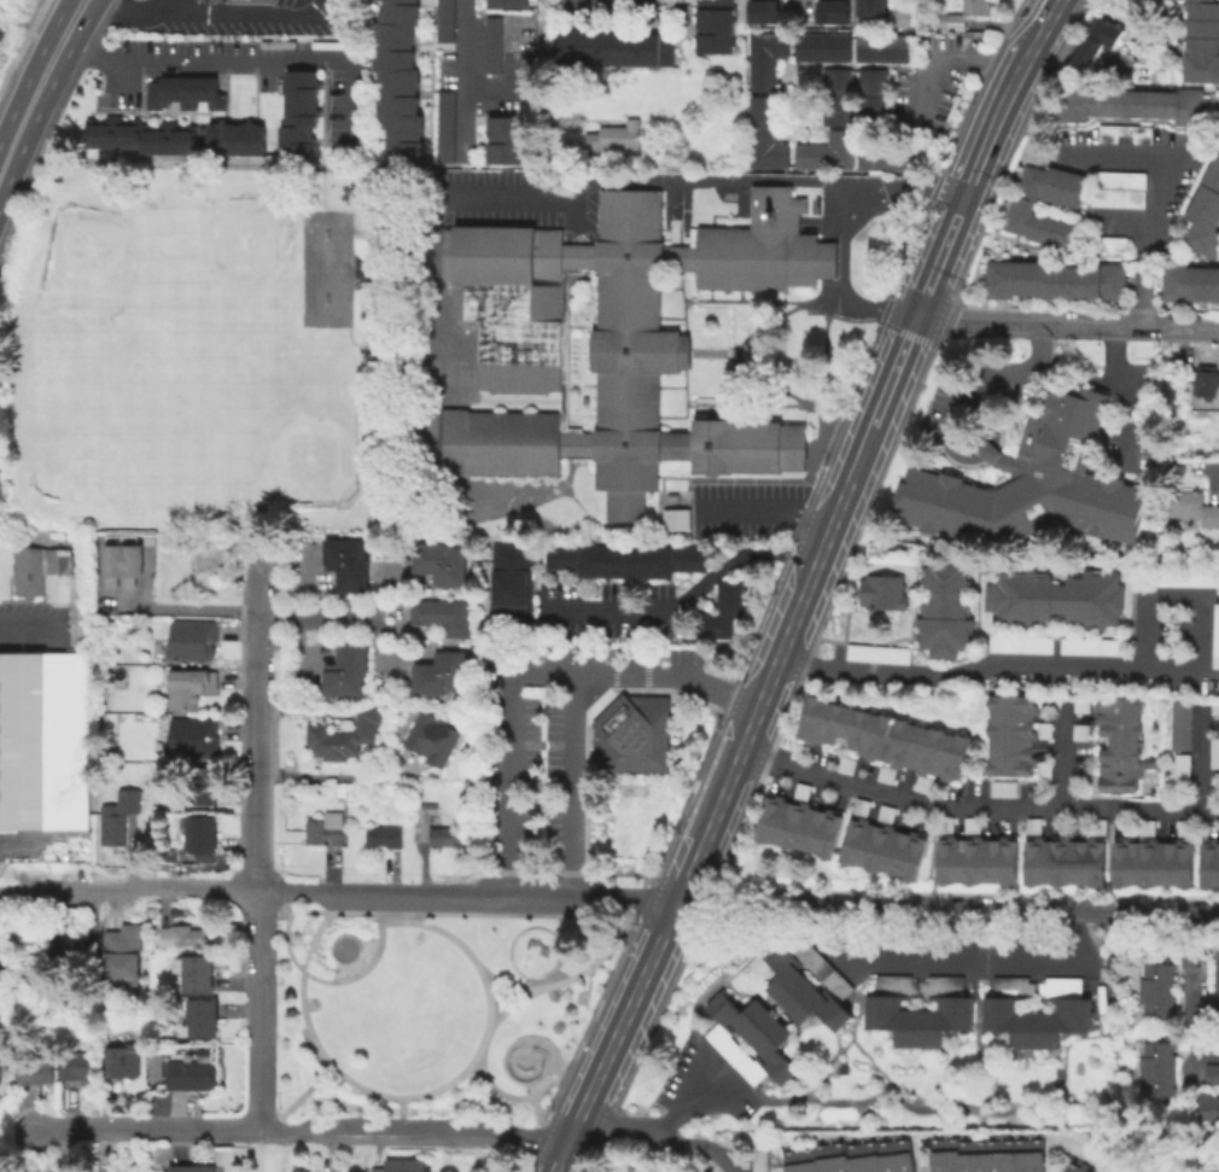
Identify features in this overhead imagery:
building: (504, 2)
road: (163, 4)
building: (875, 6)
road: (203, 7)
road: (797, 7)
building: (861, 7)
building: (763, 11)
building: (830, 11)
building: (955, 13)
building: (900, 18)
building: (442, 19)
building: (712, 25)
road: (1038, 29)
building: (1092, 40)
building: (1200, 41)
building: (489, 42)
building: (612, 45)
building: (820, 45)
building: (882, 46)
road: (941, 53)
building: (763, 57)
road: (246, 58)
building: (1138, 70)
road: (113, 71)
road: (508, 76)
road: (460, 77)
building: (396, 80)
road: (39, 87)
building: (181, 91)
building: (870, 94)
building: (834, 95)
road: (539, 100)
building: (1128, 103)
building: (297, 111)
building: (442, 124)
building: (1122, 132)
building: (136, 134)
building: (762, 134)
building: (612, 135)
building: (234, 136)
building: (503, 138)
building: (823, 150)
road: (1118, 152)
building: (887, 153)
road: (917, 187)
building: (1115, 187)
road: (460, 193)
building: (1020, 203)
road: (1149, 208)
building: (1203, 212)
road: (1116, 222)
park: (237, 243)
building: (1106, 244)
park: (99, 266)
road: (835, 274)
building: (1052, 280)
building: (1188, 282)
flagpole: (815, 302)
traffic signals: (912, 317)
road: (1043, 322)
road: (1196, 328)
building: (608, 339)
road: (917, 354)
road: (968, 378)
building: (1203, 378)
road: (1127, 385)
road: (985, 408)
park: (276, 421)
park: (86, 439)
road: (982, 447)
road: (1209, 476)
road: (846, 479)
building: (1028, 482)
building: (1191, 506)
road: (766, 512)
building: (680, 521)
building: (171, 546)
building: (214, 559)
building: (623, 559)
building: (122, 561)
building: (441, 565)
building: (348, 566)
building: (1184, 577)
building: (509, 582)
building: (879, 590)
road: (682, 595)
building: (1054, 596)
road: (191, 608)
building: (721, 610)
building: (943, 610)
building: (444, 617)
road: (322, 618)
road: (27, 623)
building: (1214, 634)
building: (193, 641)
building: (1019, 642)
building: (1091, 645)
building: (876, 652)
road: (1085, 663)
road: (258, 667)
building: (349, 671)
road: (529, 674)
building: (441, 676)
building: (189, 688)
building: (45, 702)
building: (1080, 704)
building: (1213, 705)
building: (1179, 723)
building: (1043, 729)
building: (1079, 730)
building: (630, 733)
building: (1009, 734)
building: (881, 735)
building: (345, 736)
building: (196, 739)
building: (432, 740)
building: (1118, 742)
building: (797, 751)
building: (1213, 751)
road: (1062, 756)
road: (1198, 757)
building: (844, 763)
building: (1042, 766)
building: (1179, 770)
building: (885, 772)
road: (336, 775)
building: (921, 782)
road: (572, 785)
building: (1002, 786)
building: (204, 787)
building: (799, 789)
building: (859, 804)
road: (974, 805)
building: (427, 812)
building: (885, 812)
building: (118, 817)
building: (944, 822)
building: (970, 823)
building: (797, 824)
building: (1032, 824)
building: (1096, 826)
building: (1145, 826)
building: (1183, 827)
building: (325, 832)
road: (256, 834)
building: (202, 835)
building: (447, 838)
building: (386, 839)
road: (37, 844)
building: (881, 847)
building: (975, 859)
building: (1063, 861)
building: (1209, 861)
building: (1151, 862)
road: (128, 890)
road: (363, 892)
road: (572, 894)
road: (284, 902)
road: (946, 909)
road: (275, 912)
road: (465, 914)
building: (187, 934)
road: (286, 943)
building: (68, 946)
building: (123, 950)
road: (982, 956)
building: (194, 973)
building: (1214, 973)
road: (578, 976)
road: (506, 983)
building: (805, 983)
building: (4, 984)
building: (1154, 990)
road: (1189, 991)
road: (490, 997)
park: (433, 1008)
road: (261, 1010)
building: (200, 1016)
building: (915, 1018)
building: (1033, 1020)
road: (613, 1037)
building: (747, 1038)
road: (1189, 1043)
park: (527, 1056)
building: (121, 1061)
building: (77, 1062)
building: (35, 1065)
building: (154, 1066)
building: (1154, 1068)
building: (1211, 1073)
building: (191, 1074)
building: (494, 1096)
road: (506, 1097)
road: (298, 1100)
road: (678, 1101)
building: (1207, 1106)
road: (402, 1115)
road: (541, 1120)
road: (298, 1131)
road: (640, 1131)
road: (19, 1149)
road: (264, 1151)
building: (900, 1154)
building: (949, 1154)
building: (885, 1155)
building: (934, 1155)
building: (962, 1155)
building: (991, 1155)
building: (1005, 1155)
building: (1020, 1155)
building: (1033, 1155)
road: (722, 1156)
building: (836, 1156)
building: (869, 1156)
building: (976, 1156)
building: (821, 1158)
building: (853, 1158)
building: (805, 1159)
building: (757, 1160)
building: (788, 1160)
building: (406, 1165)
building: (1067, 1165)
building: (187, 1167)
building: (377, 1168)
building: (1083, 1168)
building: (301, 1170)
building: (30, 1171)

